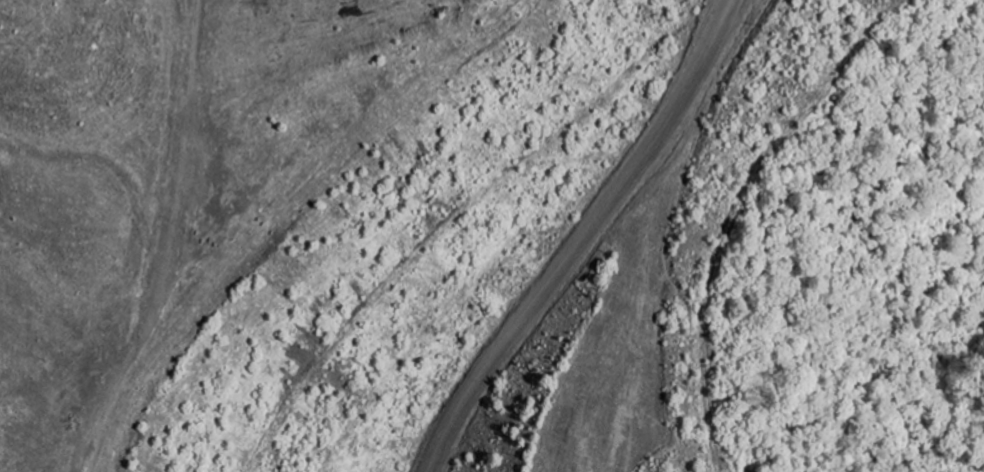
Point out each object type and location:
quarry: (492, 236)

